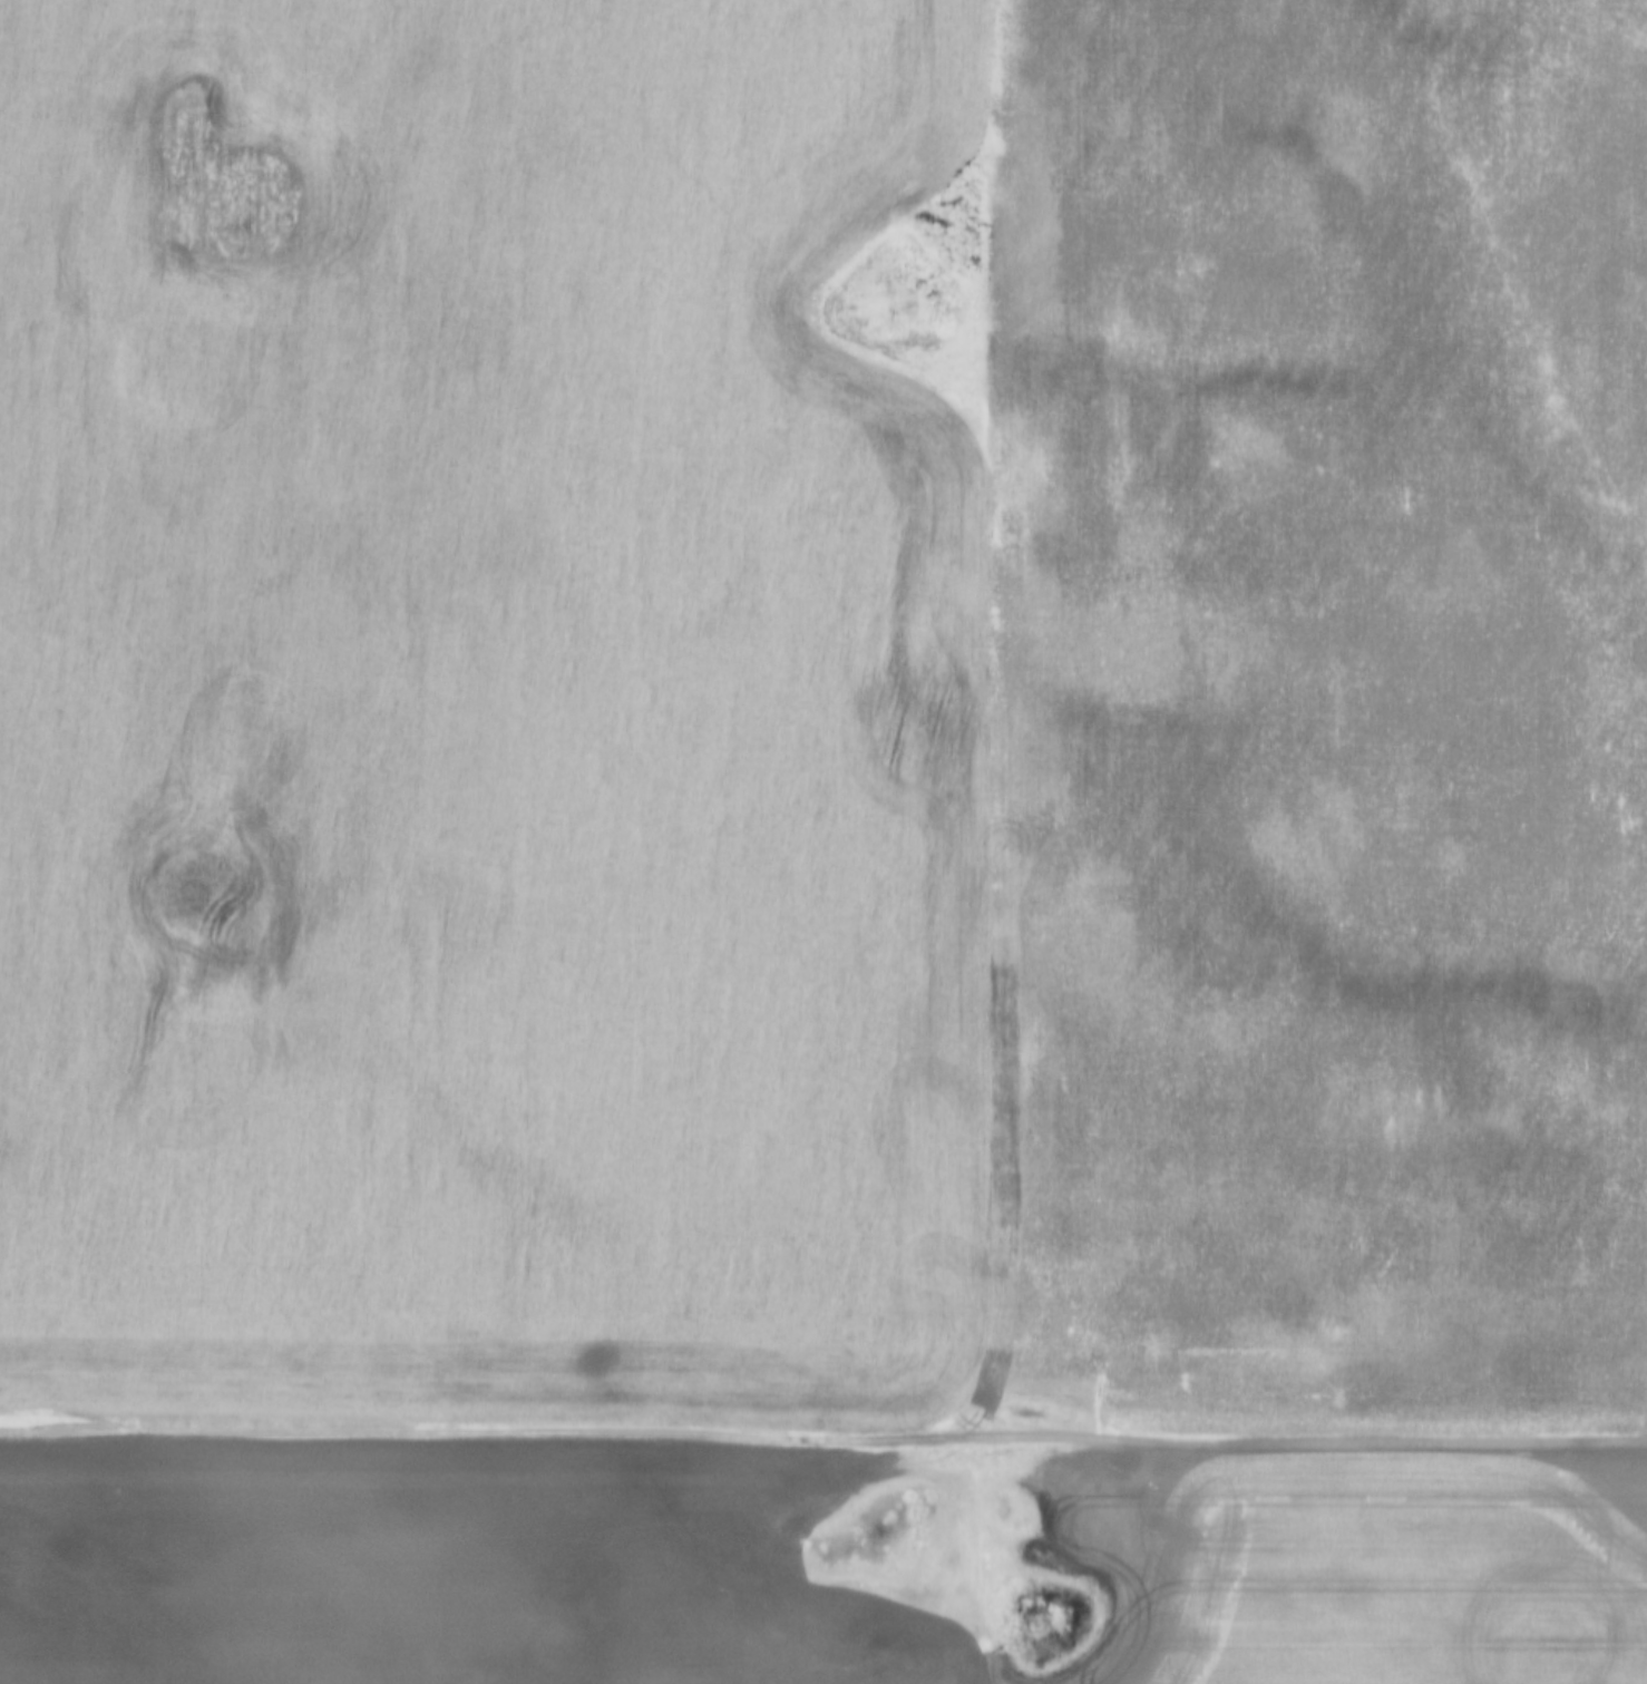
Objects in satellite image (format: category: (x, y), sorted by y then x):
road: (823, 1433)

